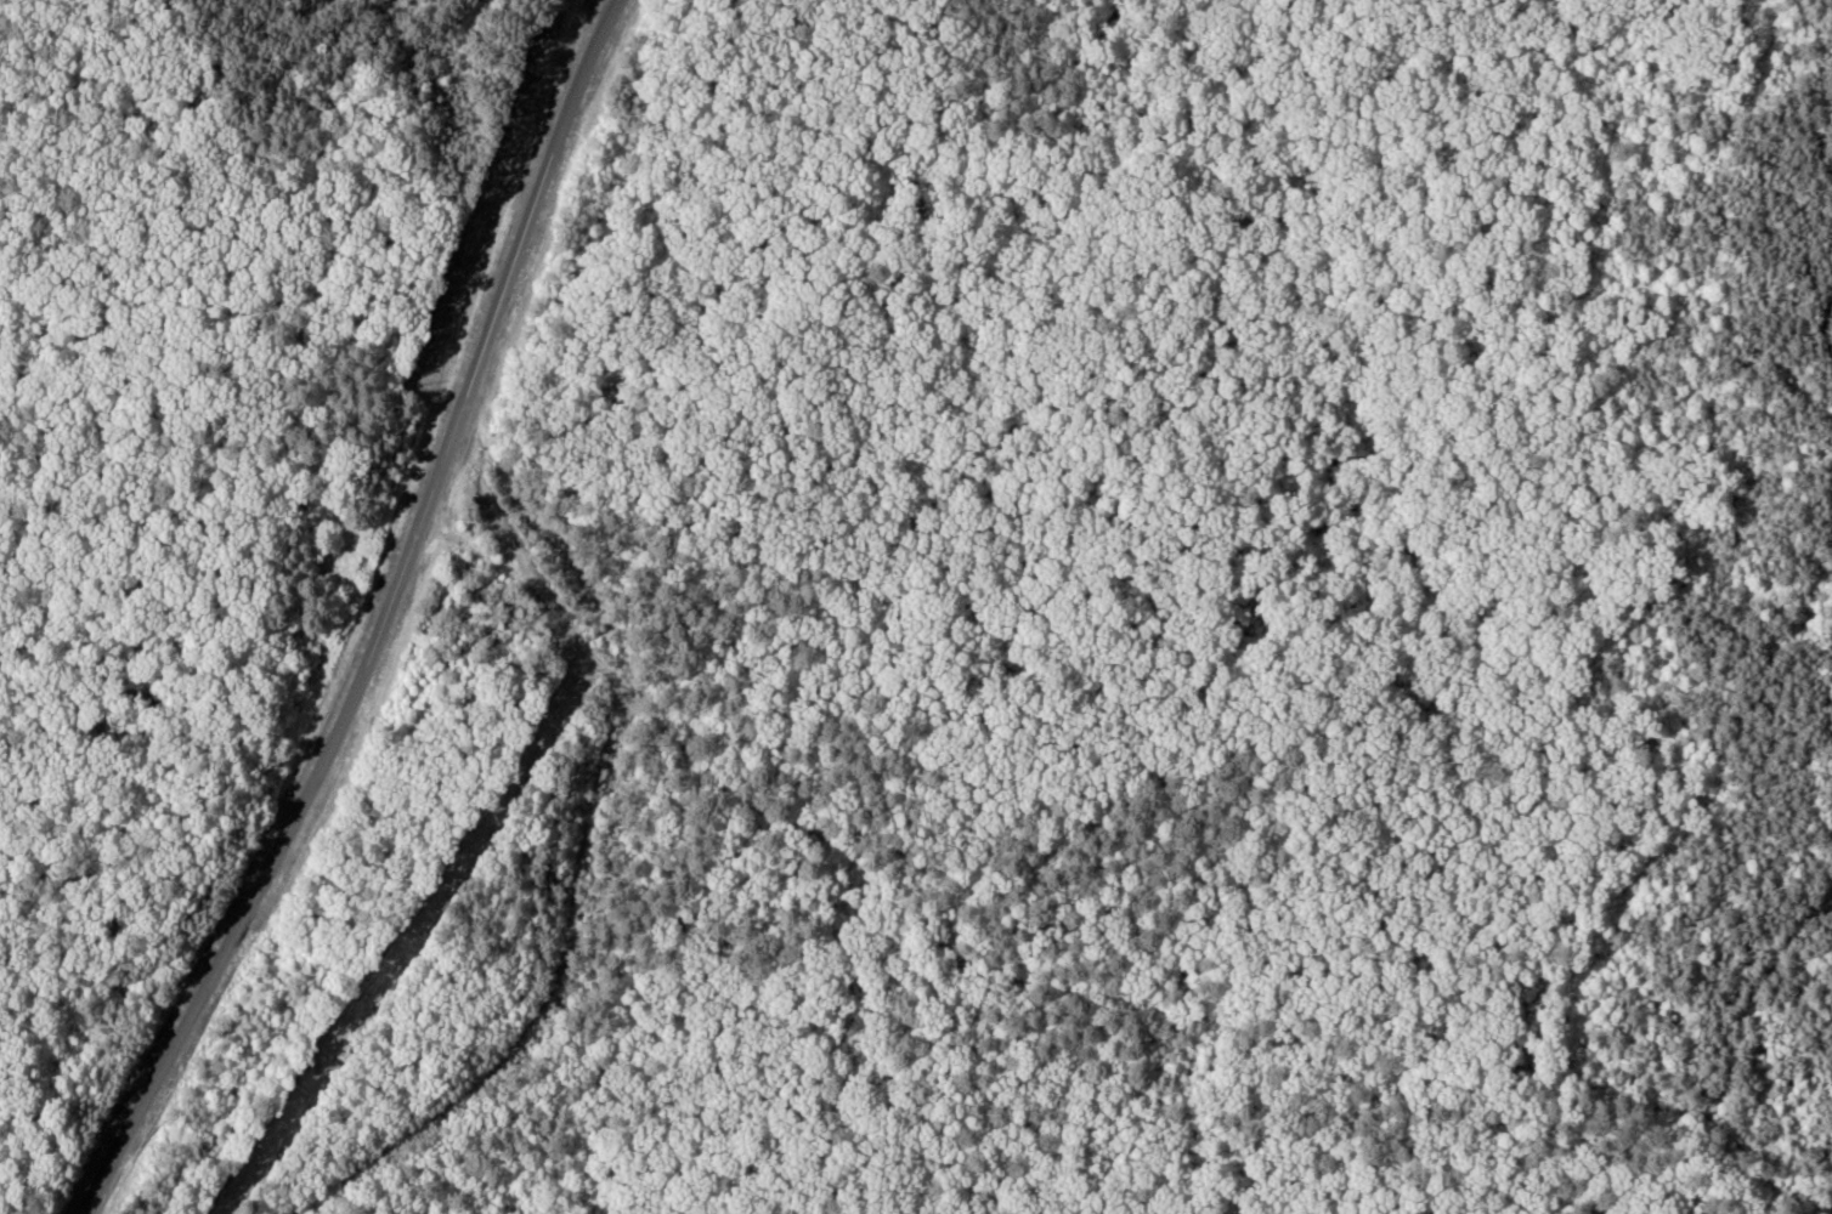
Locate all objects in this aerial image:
road: (381, 620)

